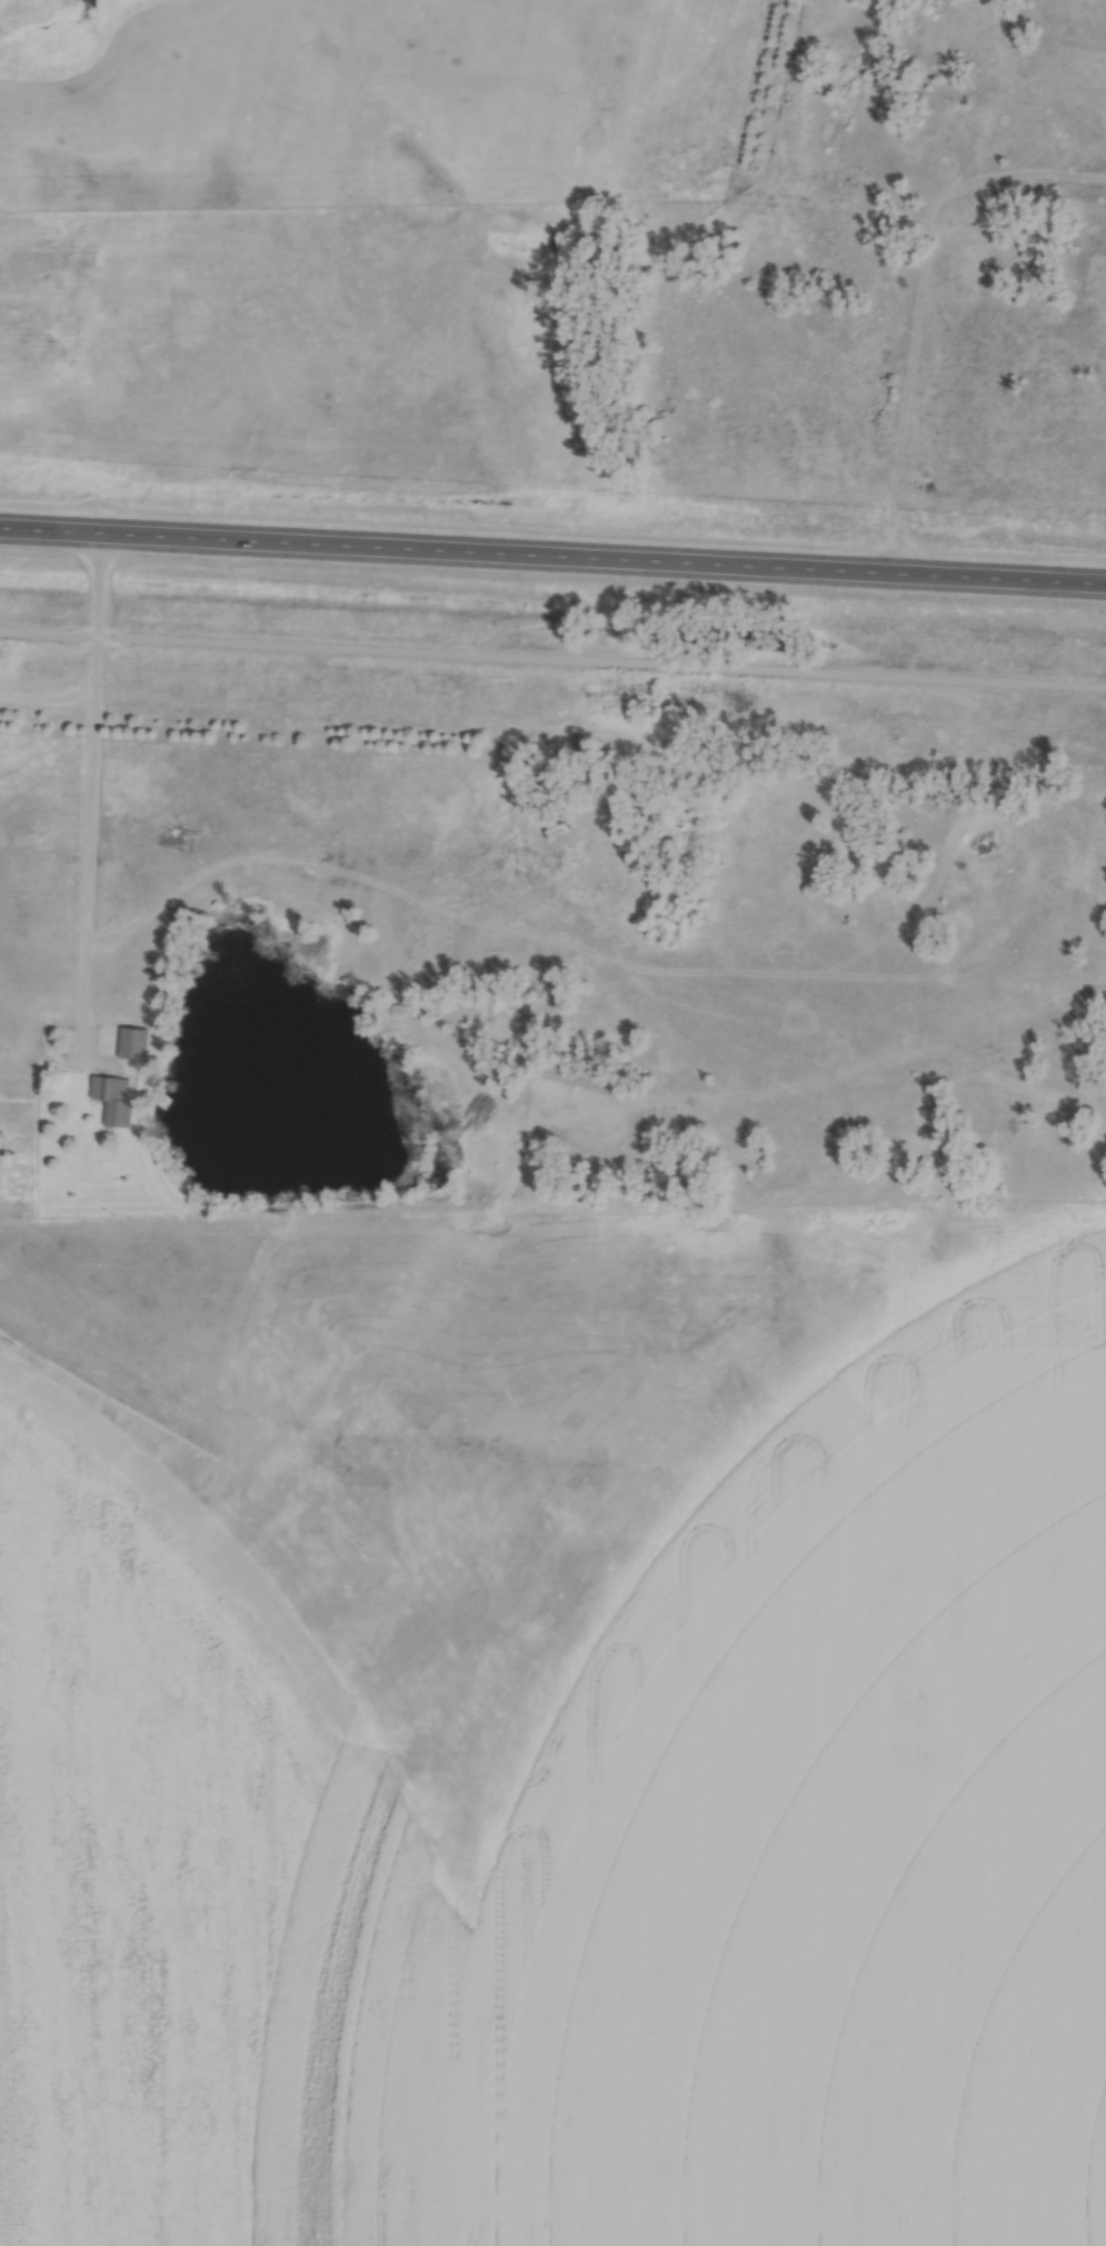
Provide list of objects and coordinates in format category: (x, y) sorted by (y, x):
road: (552, 561)
road: (552, 657)
building: (559, 828)
building: (528, 1010)
building: (117, 1099)

